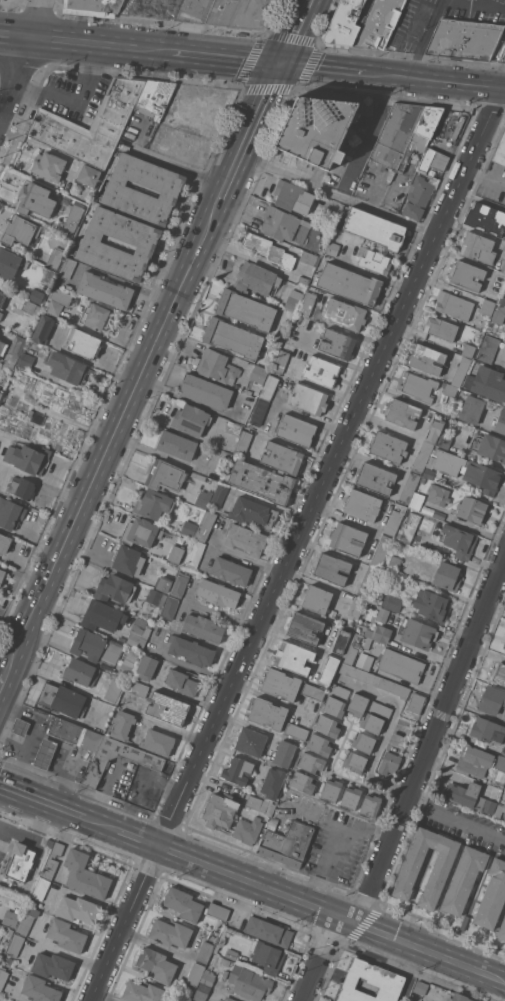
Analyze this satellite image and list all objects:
building: (93, 7)
building: (194, 10)
road: (437, 11)
building: (242, 13)
road: (37, 21)
road: (121, 22)
road: (414, 22)
building: (344, 23)
building: (378, 23)
road: (47, 28)
road: (296, 31)
building: (465, 39)
road: (14, 41)
road: (61, 43)
road: (130, 47)
road: (179, 52)
road: (236, 58)
traffic signals: (282, 63)
road: (323, 68)
road: (13, 74)
road: (435, 81)
road: (70, 96)
building: (155, 97)
building: (91, 124)
building: (316, 129)
building: (404, 134)
road: (367, 136)
road: (248, 137)
building: (500, 151)
building: (433, 163)
building: (48, 165)
building: (89, 175)
road: (485, 177)
building: (120, 189)
road: (339, 194)
building: (288, 195)
building: (418, 197)
building: (35, 200)
building: (328, 216)
building: (72, 217)
building: (485, 218)
building: (284, 225)
building: (374, 228)
building: (18, 229)
building: (95, 245)
building: (478, 247)
building: (332, 248)
building: (269, 250)
building: (54, 258)
building: (309, 258)
building: (374, 260)
building: (10, 263)
building: (67, 269)
building: (504, 270)
building: (467, 275)
building: (256, 279)
building: (304, 279)
building: (499, 279)
building: (350, 283)
building: (68, 286)
building: (104, 290)
building: (493, 294)
building: (36, 295)
building: (61, 296)
building: (2, 297)
building: (503, 299)
building: (293, 300)
building: (307, 304)
building: (454, 305)
building: (28, 306)
building: (487, 306)
building: (54, 308)
building: (246, 309)
building: (1, 314)
building: (345, 314)
building: (499, 315)
building: (96, 316)
building: (441, 328)
building: (43, 329)
building: (233, 338)
building: (83, 343)
building: (337, 344)
building: (2, 347)
building: (488, 348)
building: (15, 350)
building: (468, 350)
building: (426, 359)
building: (25, 361)
building: (280, 361)
building: (217, 366)
building: (67, 368)
building: (460, 370)
building: (322, 371)
building: (259, 373)
building: (487, 382)
building: (418, 386)
building: (269, 387)
building: (450, 389)
building: (205, 391)
building: (1, 394)
building: (308, 399)
building: (471, 409)
building: (259, 411)
building: (403, 413)
building: (36, 416)
building: (191, 420)
building: (500, 422)
building: (232, 425)
building: (296, 430)
building: (434, 430)
building: (444, 439)
road: (109, 441)
building: (242, 443)
building: (177, 445)
building: (388, 446)
building: (490, 447)
building: (423, 456)
building: (282, 457)
building: (28, 458)
building: (1, 464)
building: (465, 470)
building: (429, 473)
building: (165, 475)
building: (375, 478)
building: (422, 480)
building: (261, 481)
building: (22, 487)
building: (409, 487)
building: (219, 495)
building: (438, 495)
building: (203, 498)
building: (416, 500)
building: (152, 503)
building: (362, 505)
building: (473, 509)
building: (431, 511)
building: (253, 512)
building: (10, 513)
building: (442, 516)
building: (394, 520)
building: (205, 526)
building: (410, 526)
building: (189, 528)
building: (140, 532)
building: (347, 538)
building: (246, 539)
building: (459, 541)
building: (4, 543)
road: (296, 545)
building: (381, 551)
building: (175, 553)
building: (194, 553)
road: (246, 558)
building: (128, 560)
building: (394, 564)
building: (331, 568)
building: (231, 571)
building: (2, 575)
building: (447, 576)
building: (167, 577)
building: (368, 580)
building: (179, 584)
building: (115, 589)
building: (218, 593)
building: (156, 597)
building: (315, 598)
building: (392, 602)
building: (431, 605)
building: (169, 607)
building: (356, 607)
building: (382, 615)
building: (102, 616)
building: (154, 616)
building: (203, 627)
building: (304, 628)
building: (139, 633)
building: (379, 633)
building: (417, 633)
building: (340, 641)
building: (367, 642)
building: (504, 645)
building: (95, 647)
building: (191, 650)
building: (350, 652)
building: (293, 657)
building: (364, 661)
building: (128, 663)
building: (401, 665)
building: (146, 666)
building: (328, 670)
building: (81, 672)
building: (498, 673)
road: (2, 676)
building: (374, 679)
building: (182, 682)
building: (280, 684)
building: (136, 688)
building: (33, 690)
building: (114, 691)
building: (313, 691)
building: (339, 691)
building: (62, 700)
building: (492, 700)
building: (415, 702)
building: (357, 704)
building: (333, 706)
building: (168, 708)
building: (380, 709)
building: (267, 713)
building: (372, 723)
building: (122, 725)
building: (327, 726)
building: (19, 727)
road: (168, 728)
building: (488, 730)
building: (296, 731)
road: (388, 732)
building: (75, 733)
building: (250, 741)
building: (157, 742)
building: (363, 742)
road: (431, 742)
building: (318, 744)
building: (45, 753)
gas station: (45, 753)
building: (284, 753)
building: (504, 754)
building: (479, 760)
building: (311, 762)
building: (354, 762)
building: (389, 762)
building: (153, 764)
building: (237, 770)
building: (273, 782)
building: (302, 782)
building: (331, 790)
building: (470, 796)
building: (350, 797)
road: (41, 800)
building: (261, 804)
building: (370, 805)
building: (499, 810)
building: (220, 811)
road: (457, 814)
building: (504, 820)
road: (100, 823)
building: (273, 823)
building: (247, 830)
road: (30, 834)
road: (139, 839)
building: (287, 843)
road: (337, 846)
building: (51, 860)
building: (18, 862)
building: (440, 870)
road: (30, 873)
building: (85, 875)
building: (463, 879)
building: (41, 888)
building: (492, 895)
building: (183, 904)
building: (78, 909)
building: (218, 911)
road: (332, 914)
building: (11, 918)
building: (26, 919)
building: (502, 930)
building: (268, 931)
building: (10, 932)
building: (170, 933)
building: (66, 935)
building: (14, 945)
building: (205, 952)
building: (231, 953)
building: (267, 956)
road: (322, 959)
building: (225, 962)
building: (156, 964)
building: (53, 966)
building: (196, 973)
building: (3, 976)
building: (207, 977)
building: (249, 982)
building: (370, 982)
building: (420, 986)
building: (40, 989)
building: (142, 992)
building: (201, 992)
building: (458, 998)
building: (229, 999)

